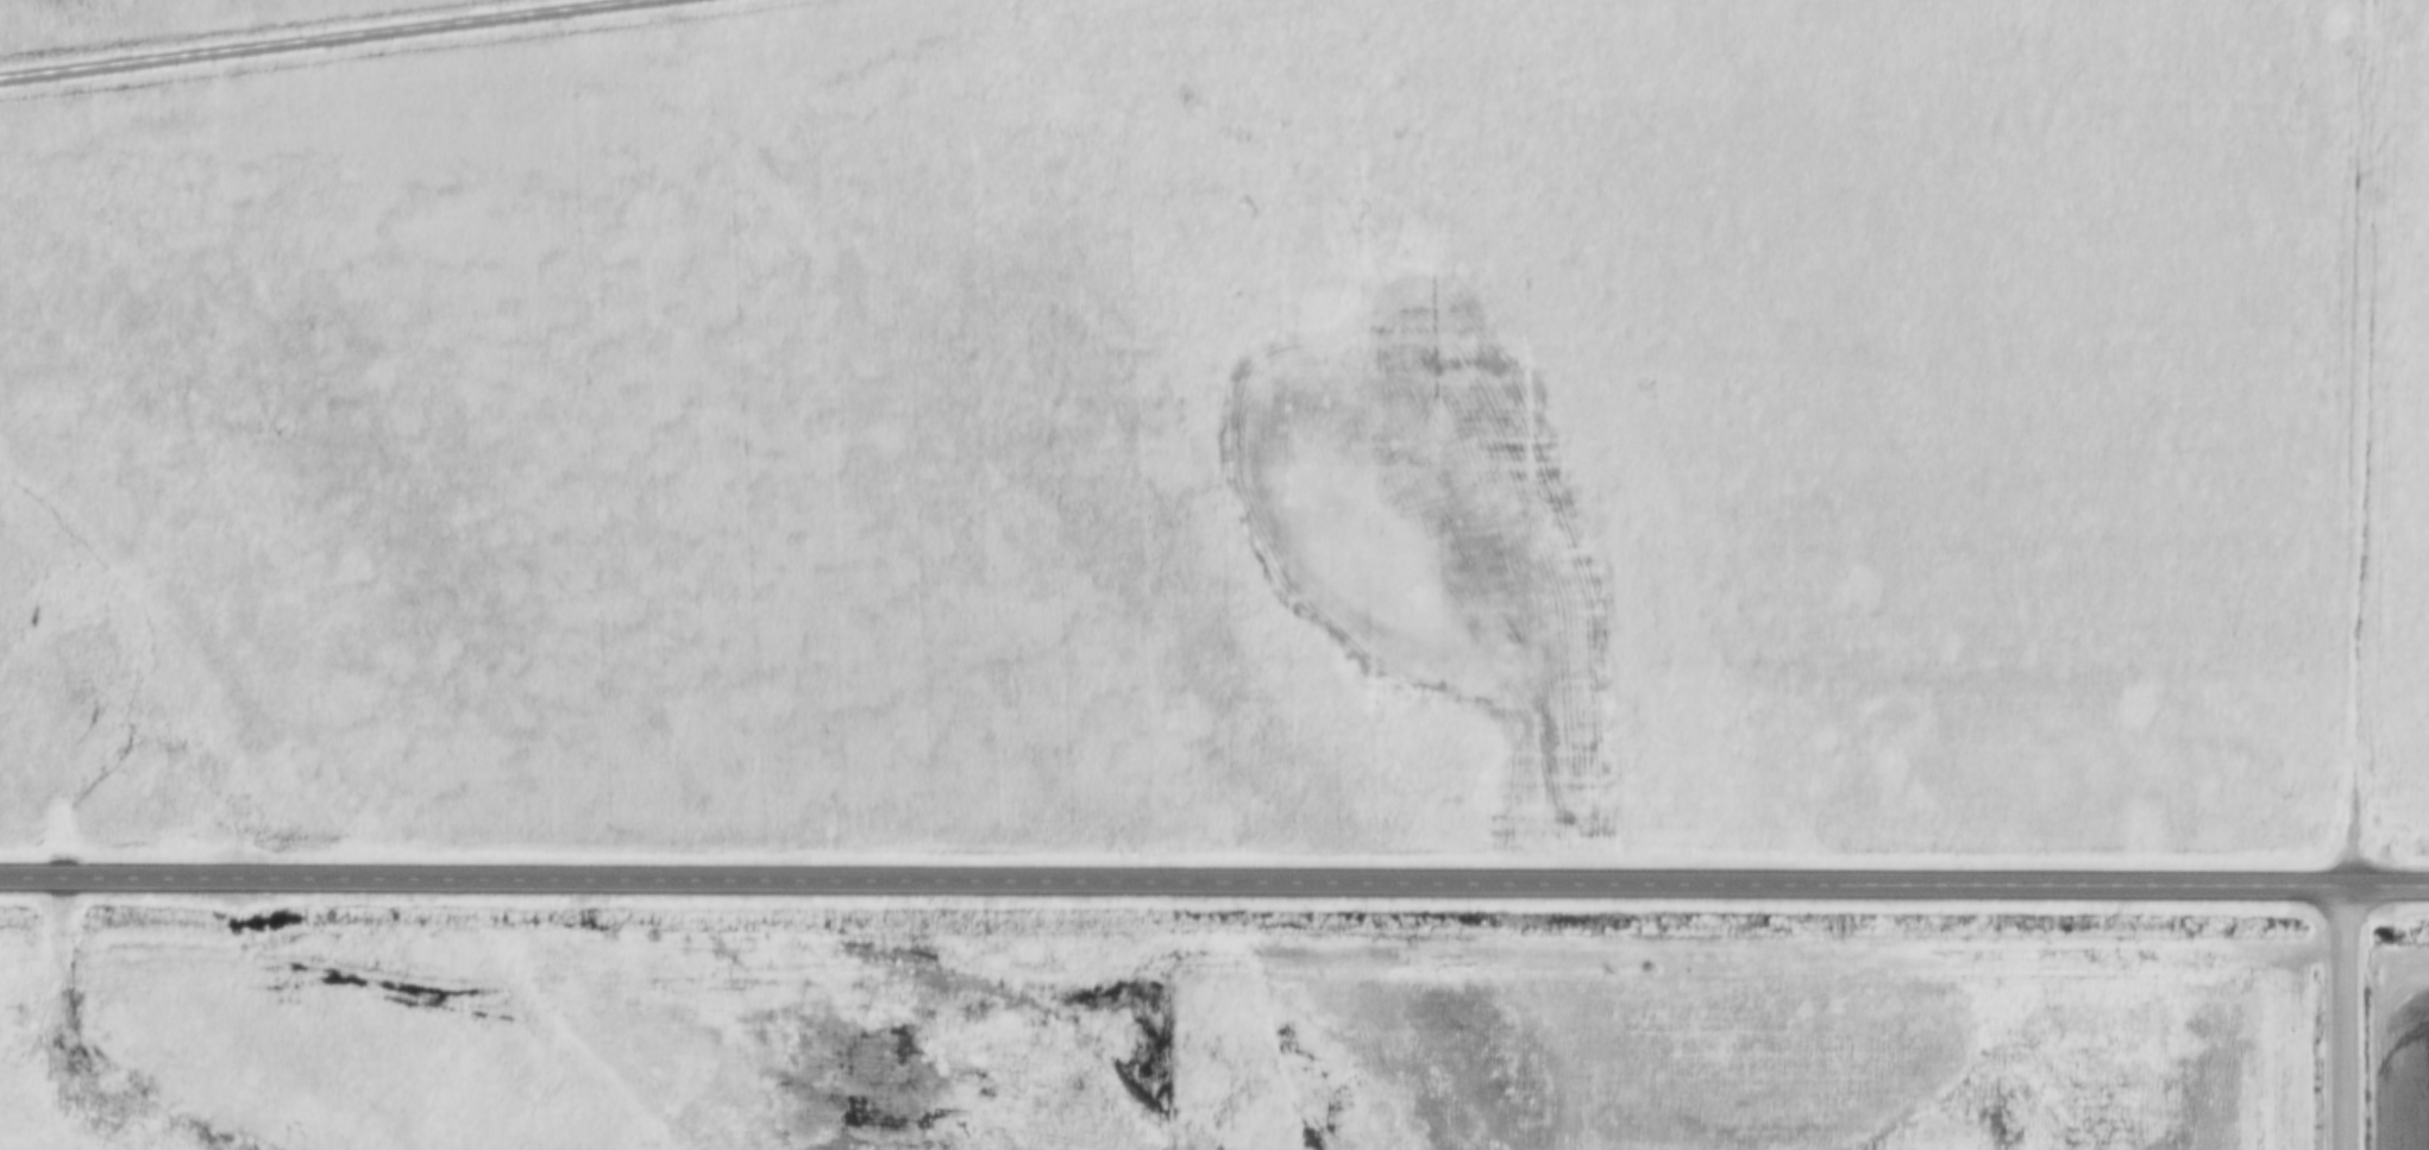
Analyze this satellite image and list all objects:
railway: (322, 39)
road: (2364, 445)
road: (1213, 884)
road: (2347, 1020)

